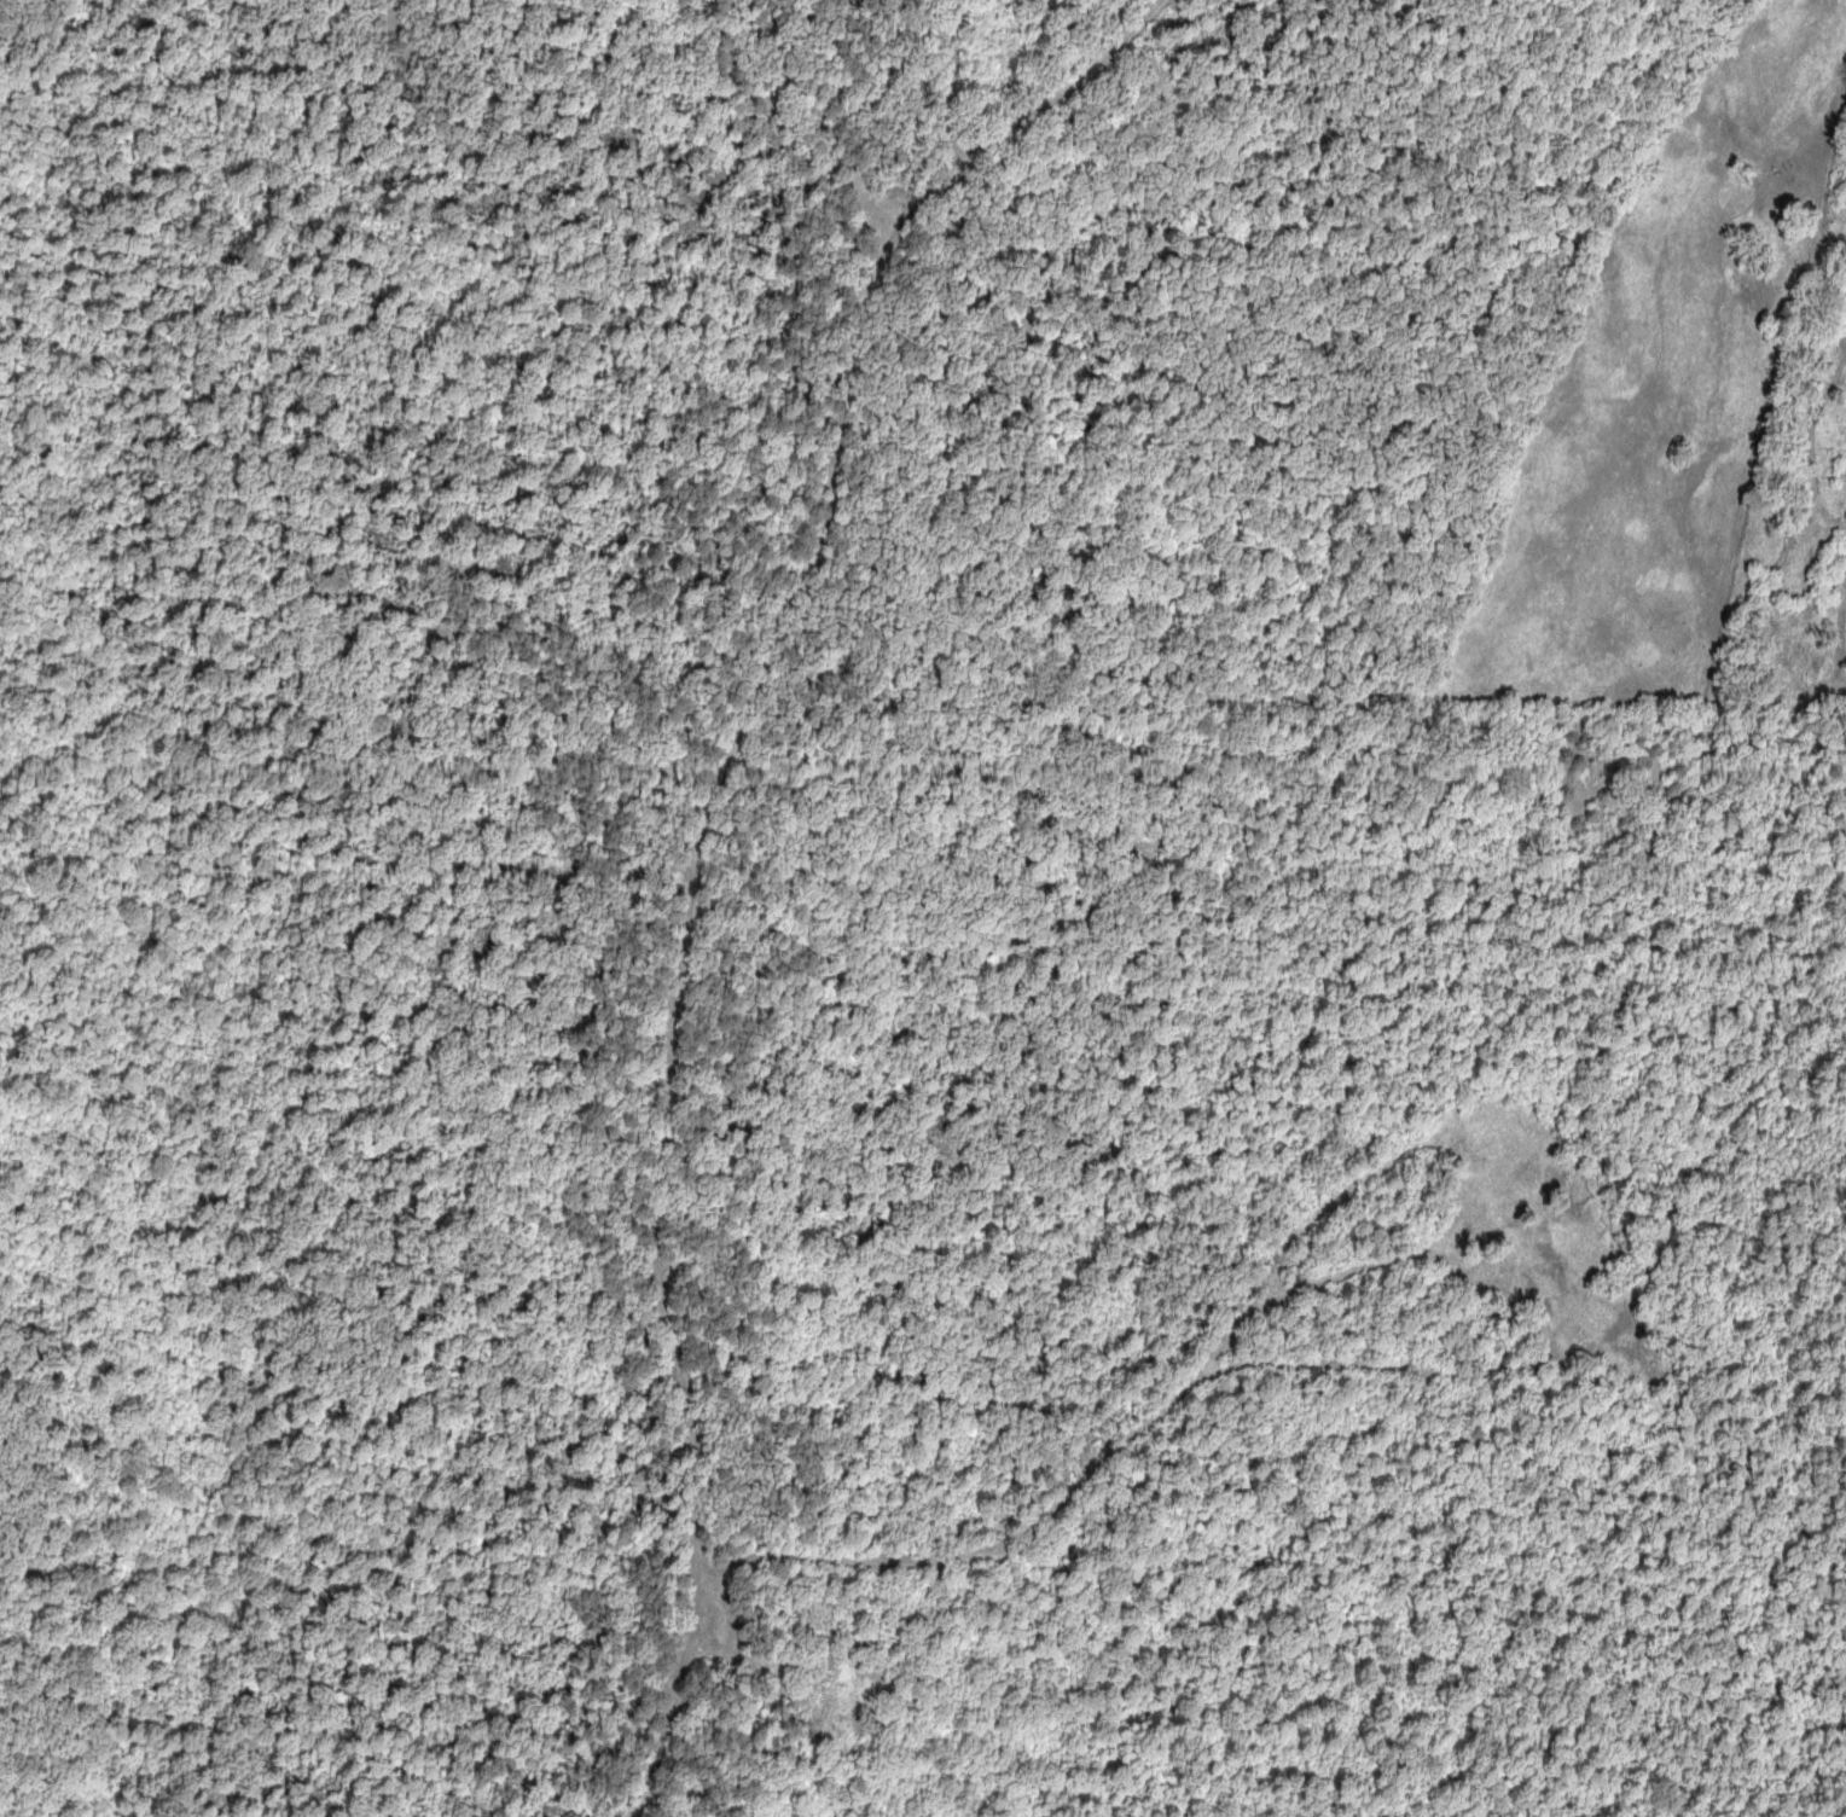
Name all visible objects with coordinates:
road: (696, 835)

